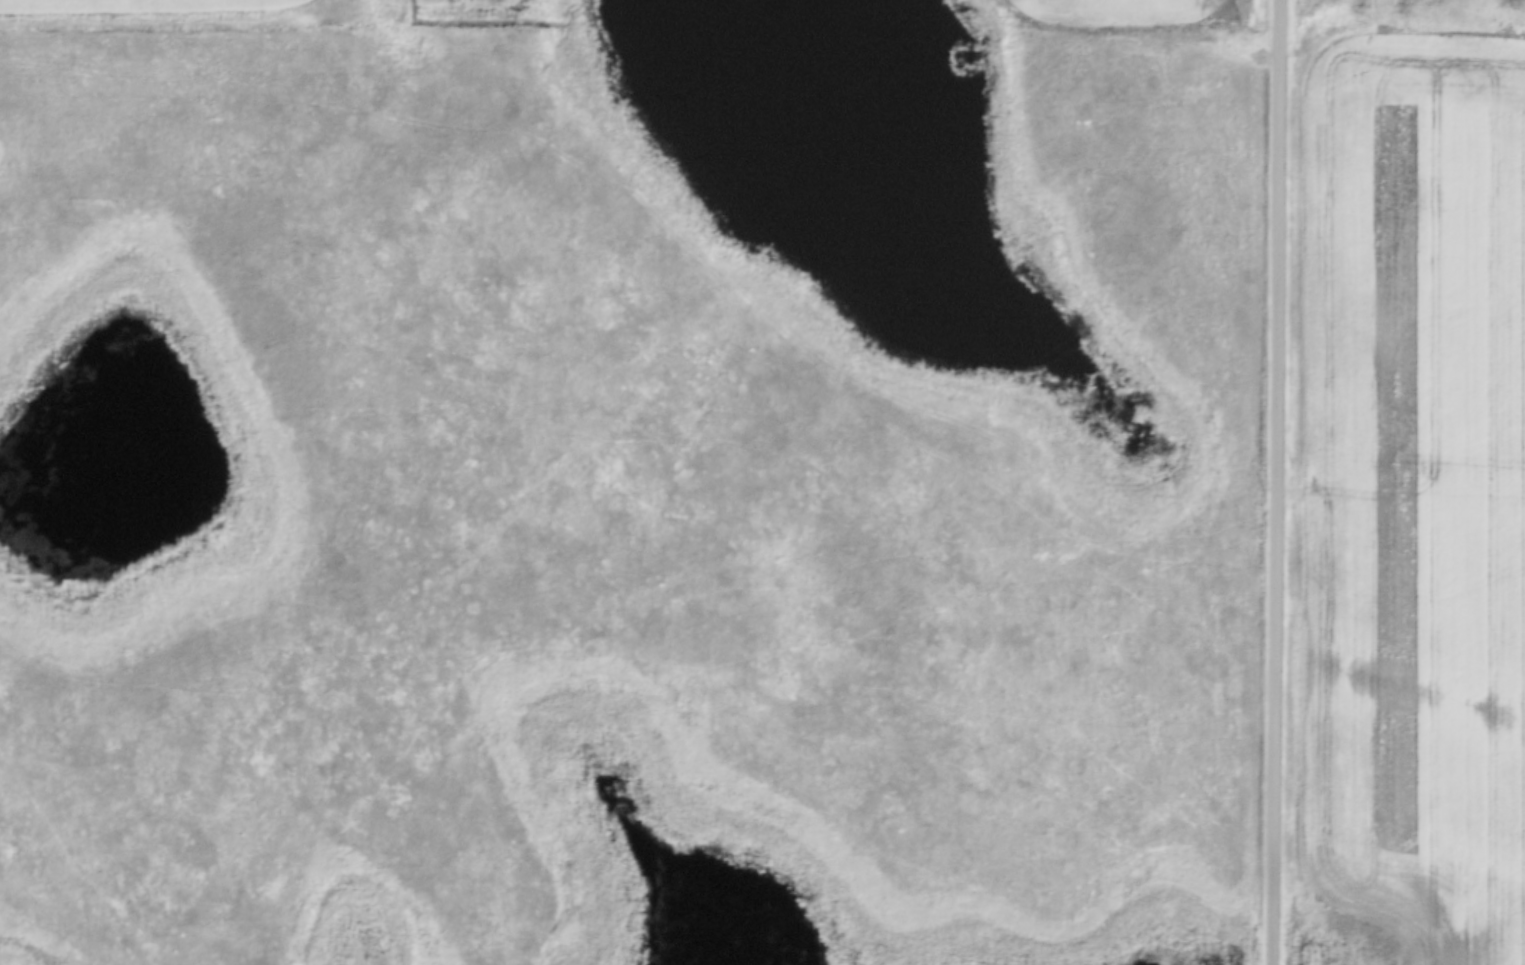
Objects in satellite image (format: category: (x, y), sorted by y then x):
road: (1285, 482)
road: (1405, 507)

